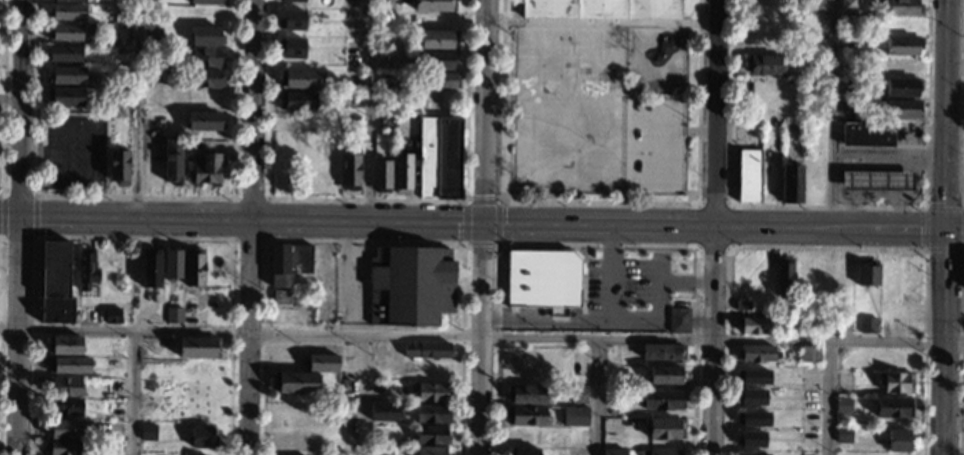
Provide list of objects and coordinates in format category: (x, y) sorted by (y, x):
building: (295, 0)
building: (70, 1)
building: (207, 2)
building: (384, 4)
building: (432, 5)
building: (847, 5)
building: (903, 7)
building: (601, 9)
building: (68, 12)
building: (295, 18)
road: (600, 21)
building: (65, 33)
building: (206, 37)
building: (437, 39)
building: (902, 46)
building: (294, 47)
building: (63, 54)
building: (206, 58)
building: (433, 60)
building: (765, 65)
building: (67, 75)
building: (205, 79)
building: (300, 79)
building: (440, 80)
building: (901, 88)
building: (117, 96)
road: (4, 98)
building: (65, 98)
road: (8, 101)
building: (297, 101)
road: (137, 107)
building: (849, 107)
road: (370, 109)
building: (901, 109)
road: (713, 111)
road: (833, 112)
building: (205, 121)
building: (386, 121)
road: (87, 128)
road: (692, 129)
road: (963, 137)
building: (869, 138)
building: (438, 158)
road: (868, 159)
building: (172, 161)
building: (118, 166)
building: (205, 168)
building: (402, 171)
building: (349, 172)
building: (380, 175)
building: (748, 176)
building: (876, 181)
gas station: (876, 181)
building: (791, 183)
road: (505, 188)
road: (904, 190)
road: (19, 195)
road: (135, 196)
road: (268, 198)
road: (367, 199)
road: (498, 202)
road: (598, 202)
road: (730, 204)
road: (829, 205)
road: (963, 208)
road: (3, 214)
road: (35, 215)
road: (355, 219)
traffic signals: (483, 222)
road: (837, 225)
road: (16, 227)
road: (250, 227)
road: (482, 227)
road: (945, 227)
traffic signals: (945, 229)
road: (1, 234)
road: (18, 236)
road: (131, 238)
road: (363, 242)
road: (596, 245)
road: (825, 248)
building: (288, 263)
building: (171, 267)
building: (150, 268)
building: (86, 269)
building: (193, 269)
building: (54, 270)
road: (609, 271)
building: (867, 273)
road: (348, 276)
building: (542, 278)
building: (784, 278)
road: (686, 282)
building: (410, 286)
building: (280, 297)
building: (742, 306)
road: (1, 308)
road: (656, 311)
building: (174, 314)
building: (86, 315)
building: (112, 316)
building: (678, 320)
road: (546, 321)
building: (867, 325)
building: (754, 326)
road: (481, 336)
road: (712, 338)
building: (64, 346)
building: (196, 348)
building: (427, 350)
building: (662, 352)
road: (962, 352)
building: (755, 354)
building: (810, 354)
building: (320, 364)
building: (68, 365)
building: (667, 375)
building: (754, 376)
building: (294, 383)
building: (896, 383)
building: (65, 388)
road: (132, 392)
building: (430, 393)
building: (526, 394)
building: (578, 394)
road: (363, 395)
road: (597, 396)
building: (751, 396)
road: (829, 398)
building: (662, 400)
building: (843, 406)
building: (64, 407)
building: (894, 408)
building: (383, 412)
building: (431, 414)
building: (526, 416)
building: (574, 417)
building: (753, 418)
building: (664, 429)
building: (69, 430)
building: (148, 432)
building: (844, 434)
building: (431, 435)
building: (201, 437)
building: (750, 438)
building: (899, 441)
building: (67, 448)
building: (430, 451)
building: (523, 451)
building: (613, 452)
building: (659, 452)
building: (752, 454)

